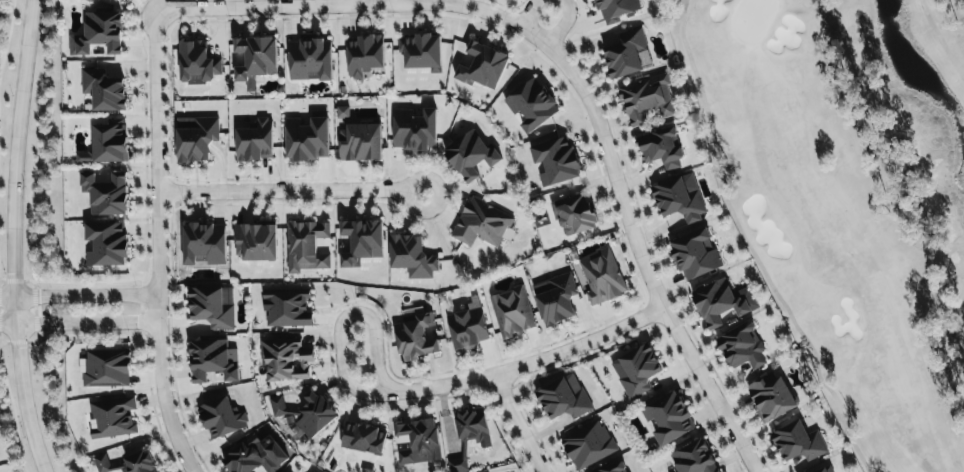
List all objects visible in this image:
building: (117, 0)
road: (357, 4)
building: (615, 9)
road: (531, 13)
road: (562, 23)
building: (99, 33)
building: (421, 51)
building: (364, 54)
building: (627, 54)
building: (255, 59)
building: (310, 59)
building: (197, 62)
building: (483, 66)
building: (104, 89)
building: (646, 98)
building: (532, 104)
building: (342, 111)
building: (415, 130)
building: (196, 138)
building: (307, 139)
building: (255, 142)
building: (360, 142)
building: (107, 143)
building: (662, 148)
building: (472, 156)
building: (556, 160)
road: (282, 190)
building: (106, 193)
building: (680, 198)
park: (848, 198)
park: (848, 198)
road: (417, 210)
building: (574, 214)
building: (481, 223)
road: (14, 237)
building: (361, 241)
building: (256, 242)
building: (106, 243)
building: (204, 243)
road: (159, 244)
building: (306, 246)
building: (695, 254)
building: (412, 256)
road: (644, 260)
building: (602, 277)
road: (79, 294)
building: (555, 298)
building: (722, 302)
building: (213, 306)
building: (288, 307)
building: (512, 312)
road: (343, 319)
road: (80, 322)
building: (467, 328)
building: (416, 337)
building: (742, 346)
building: (286, 359)
building: (213, 360)
road: (532, 363)
building: (105, 370)
building: (636, 370)
building: (770, 397)
building: (564, 398)
building: (304, 414)
building: (112, 417)
building: (668, 417)
building: (221, 418)
road: (518, 423)
building: (473, 426)
building: (363, 438)
building: (418, 441)
building: (798, 442)
building: (588, 445)
building: (256, 455)
building: (694, 458)
building: (459, 461)
building: (128, 463)
building: (613, 467)
building: (825, 469)
building: (314, 470)

